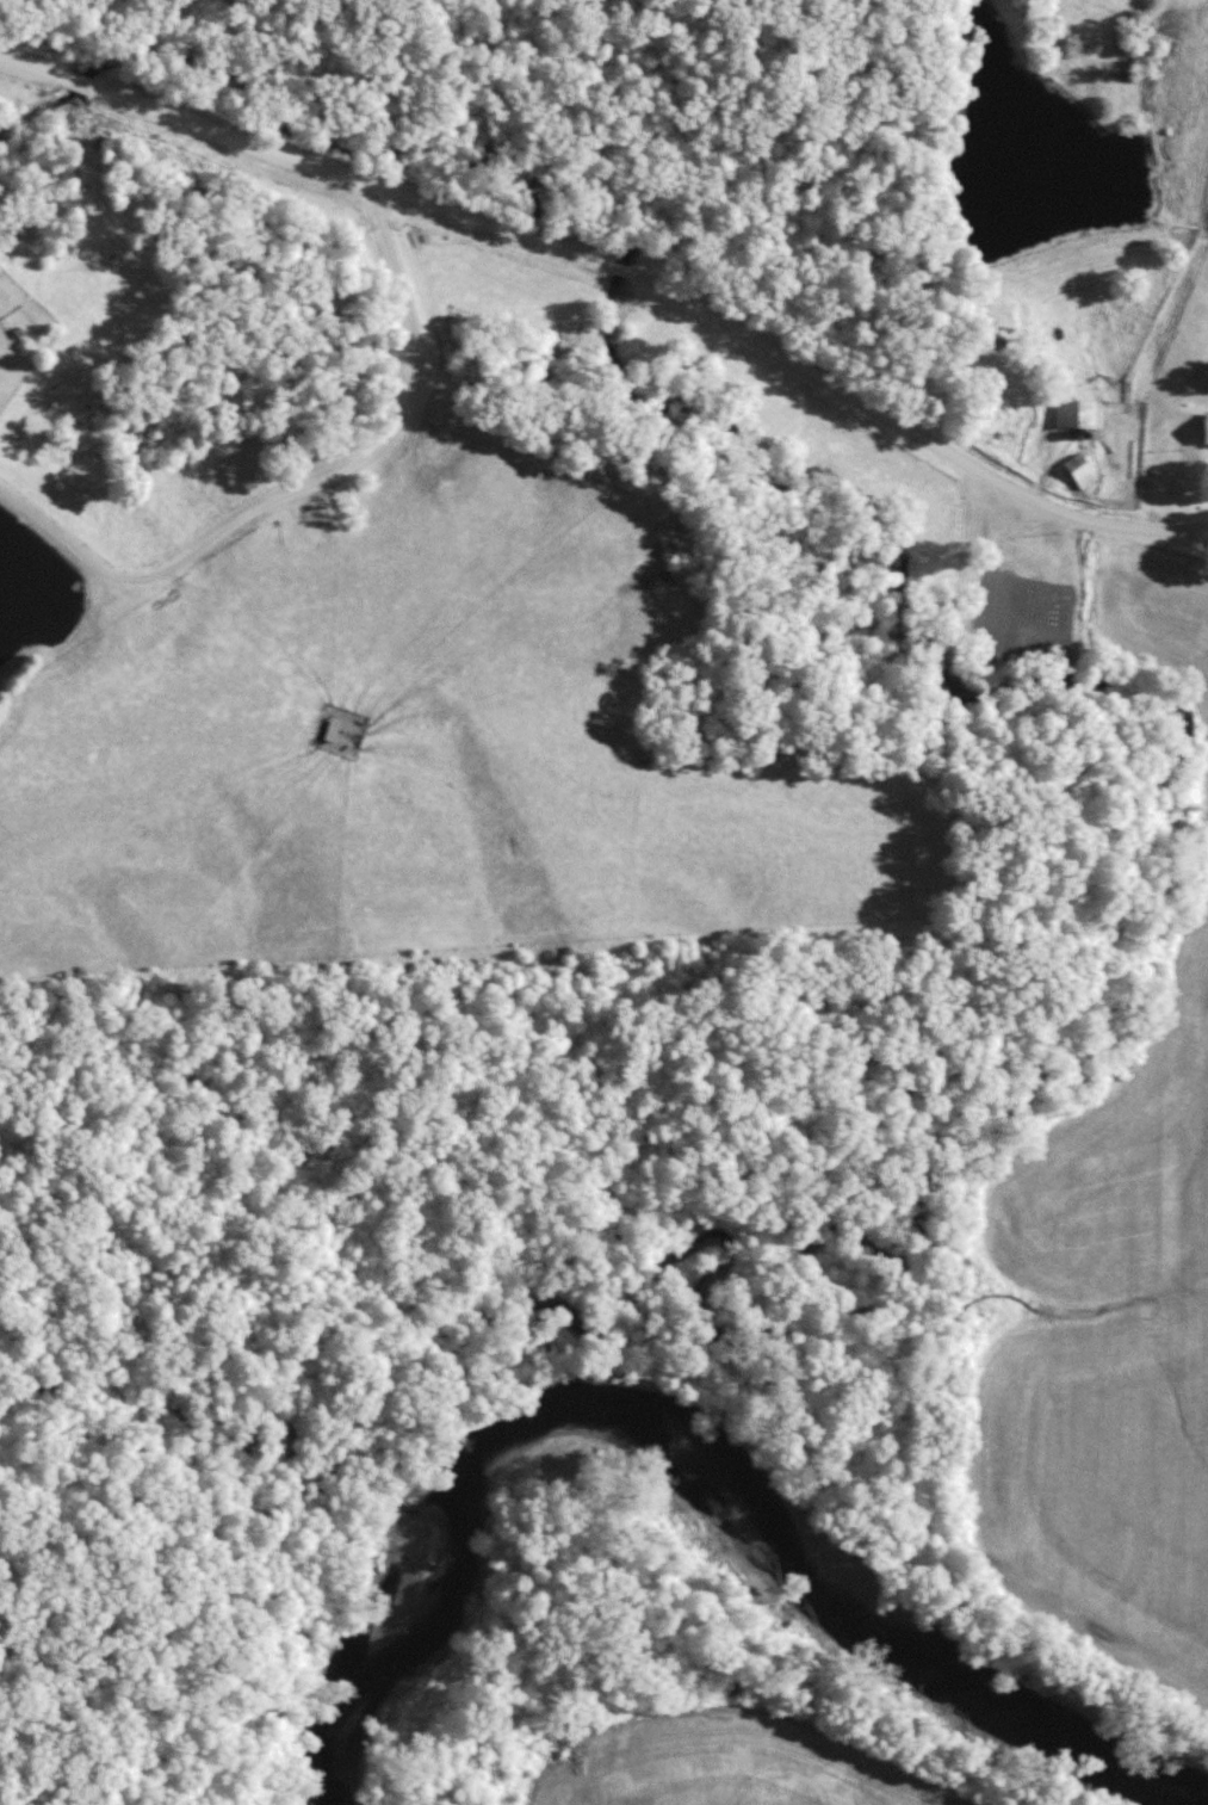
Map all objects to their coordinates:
road: (625, 291)
building: (1074, 413)
building: (1206, 429)
building: (1080, 470)
building: (332, 729)
river: (699, 1460)

